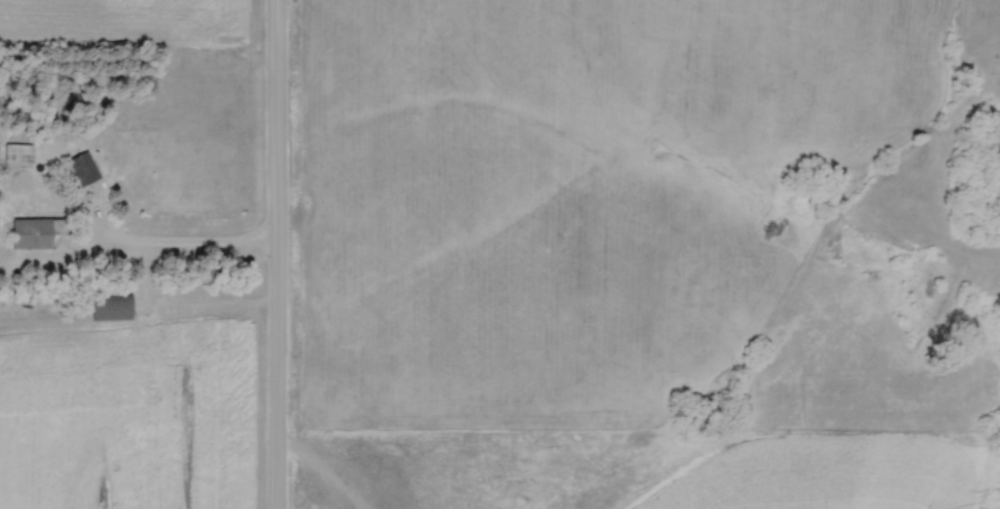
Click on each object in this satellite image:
building: (16, 155)
building: (82, 169)
building: (37, 235)
road: (187, 243)
road: (275, 254)
building: (109, 309)

